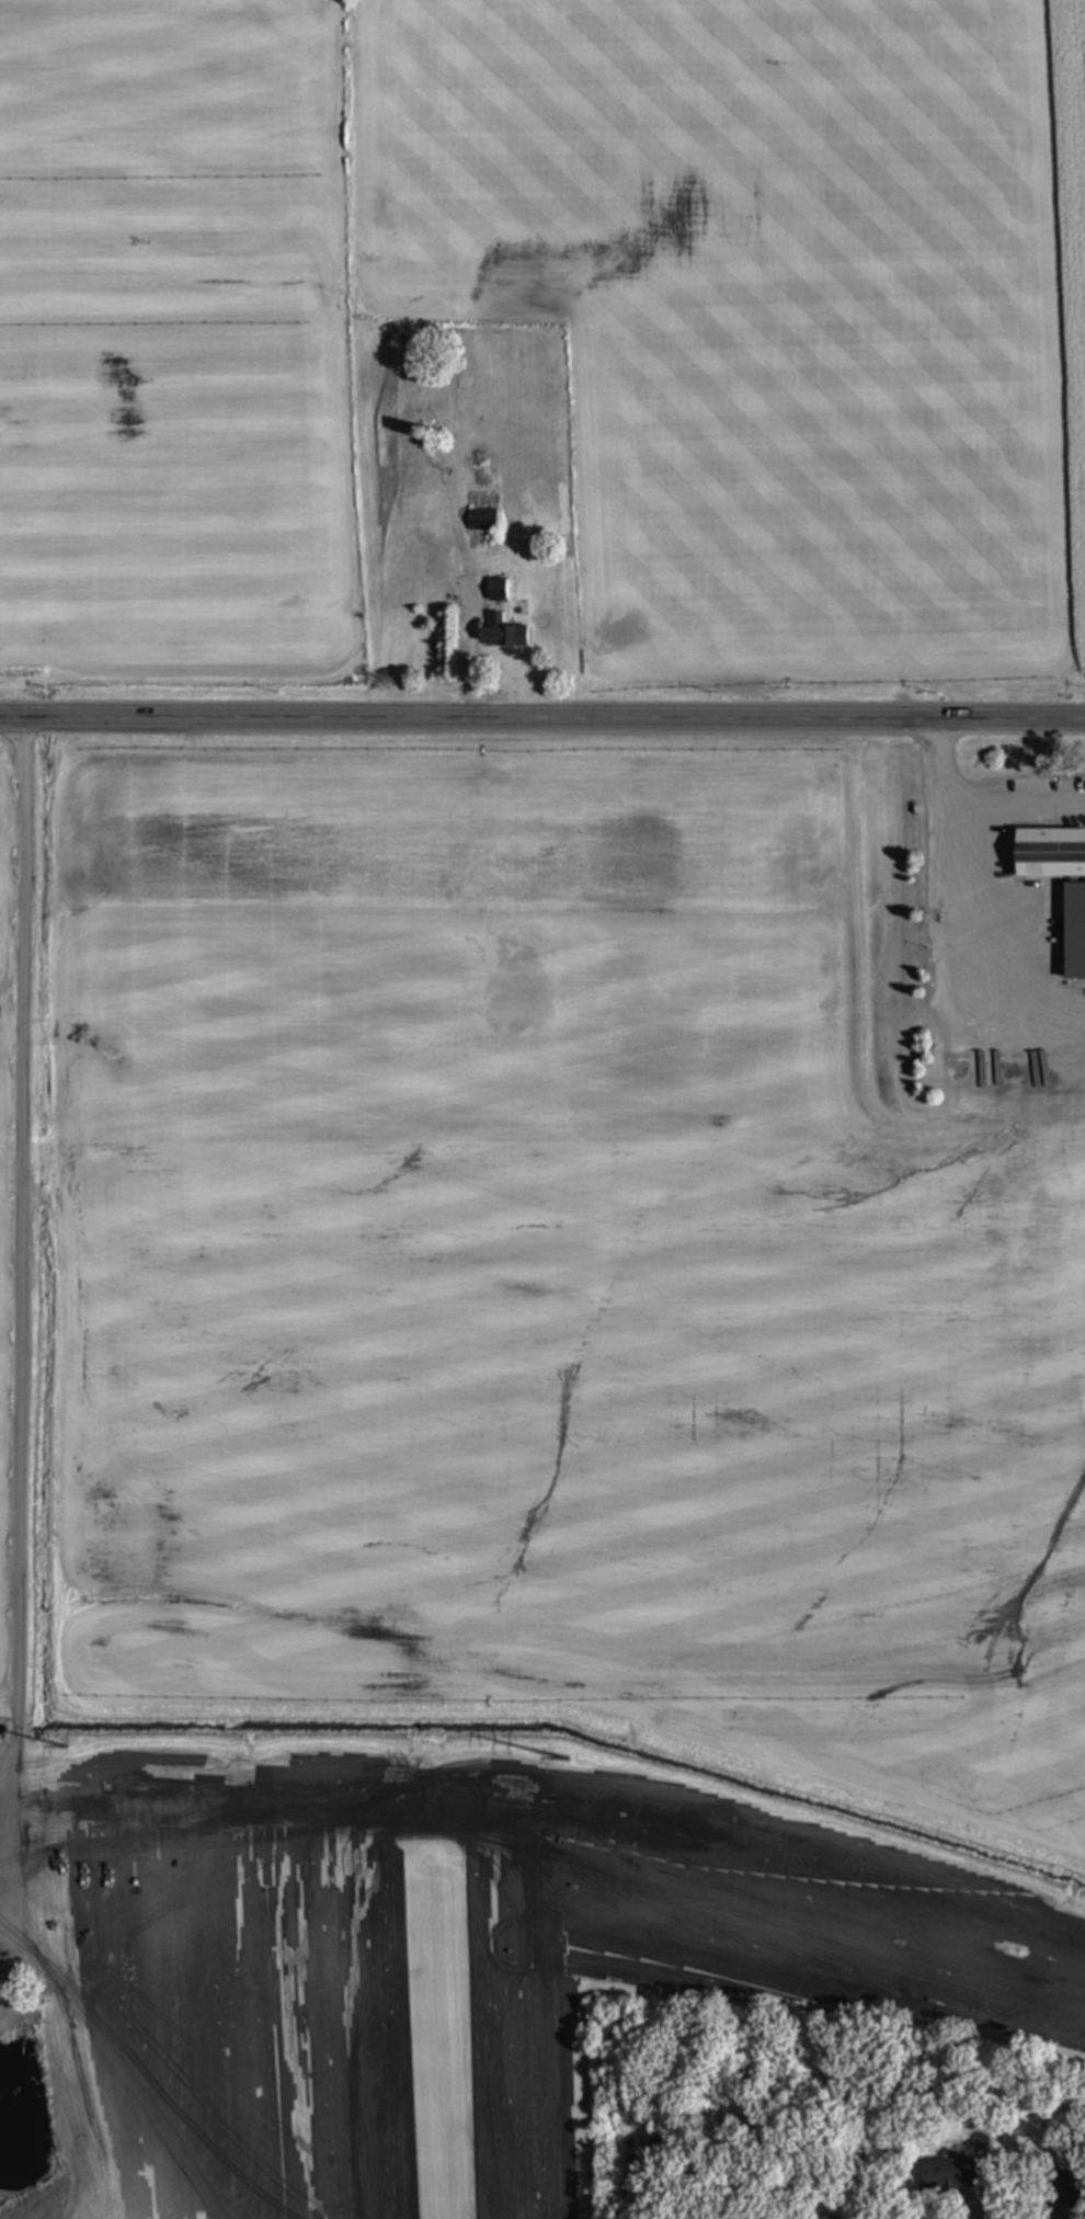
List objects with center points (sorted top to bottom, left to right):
building: (482, 520)
building: (498, 590)
building: (502, 634)
road: (541, 719)
road: (971, 803)
building: (1051, 854)
building: (1075, 932)
road: (950, 965)
power tower: (65, 1745)
power tower: (567, 1759)
building: (941, 2175)
building: (1067, 2185)

